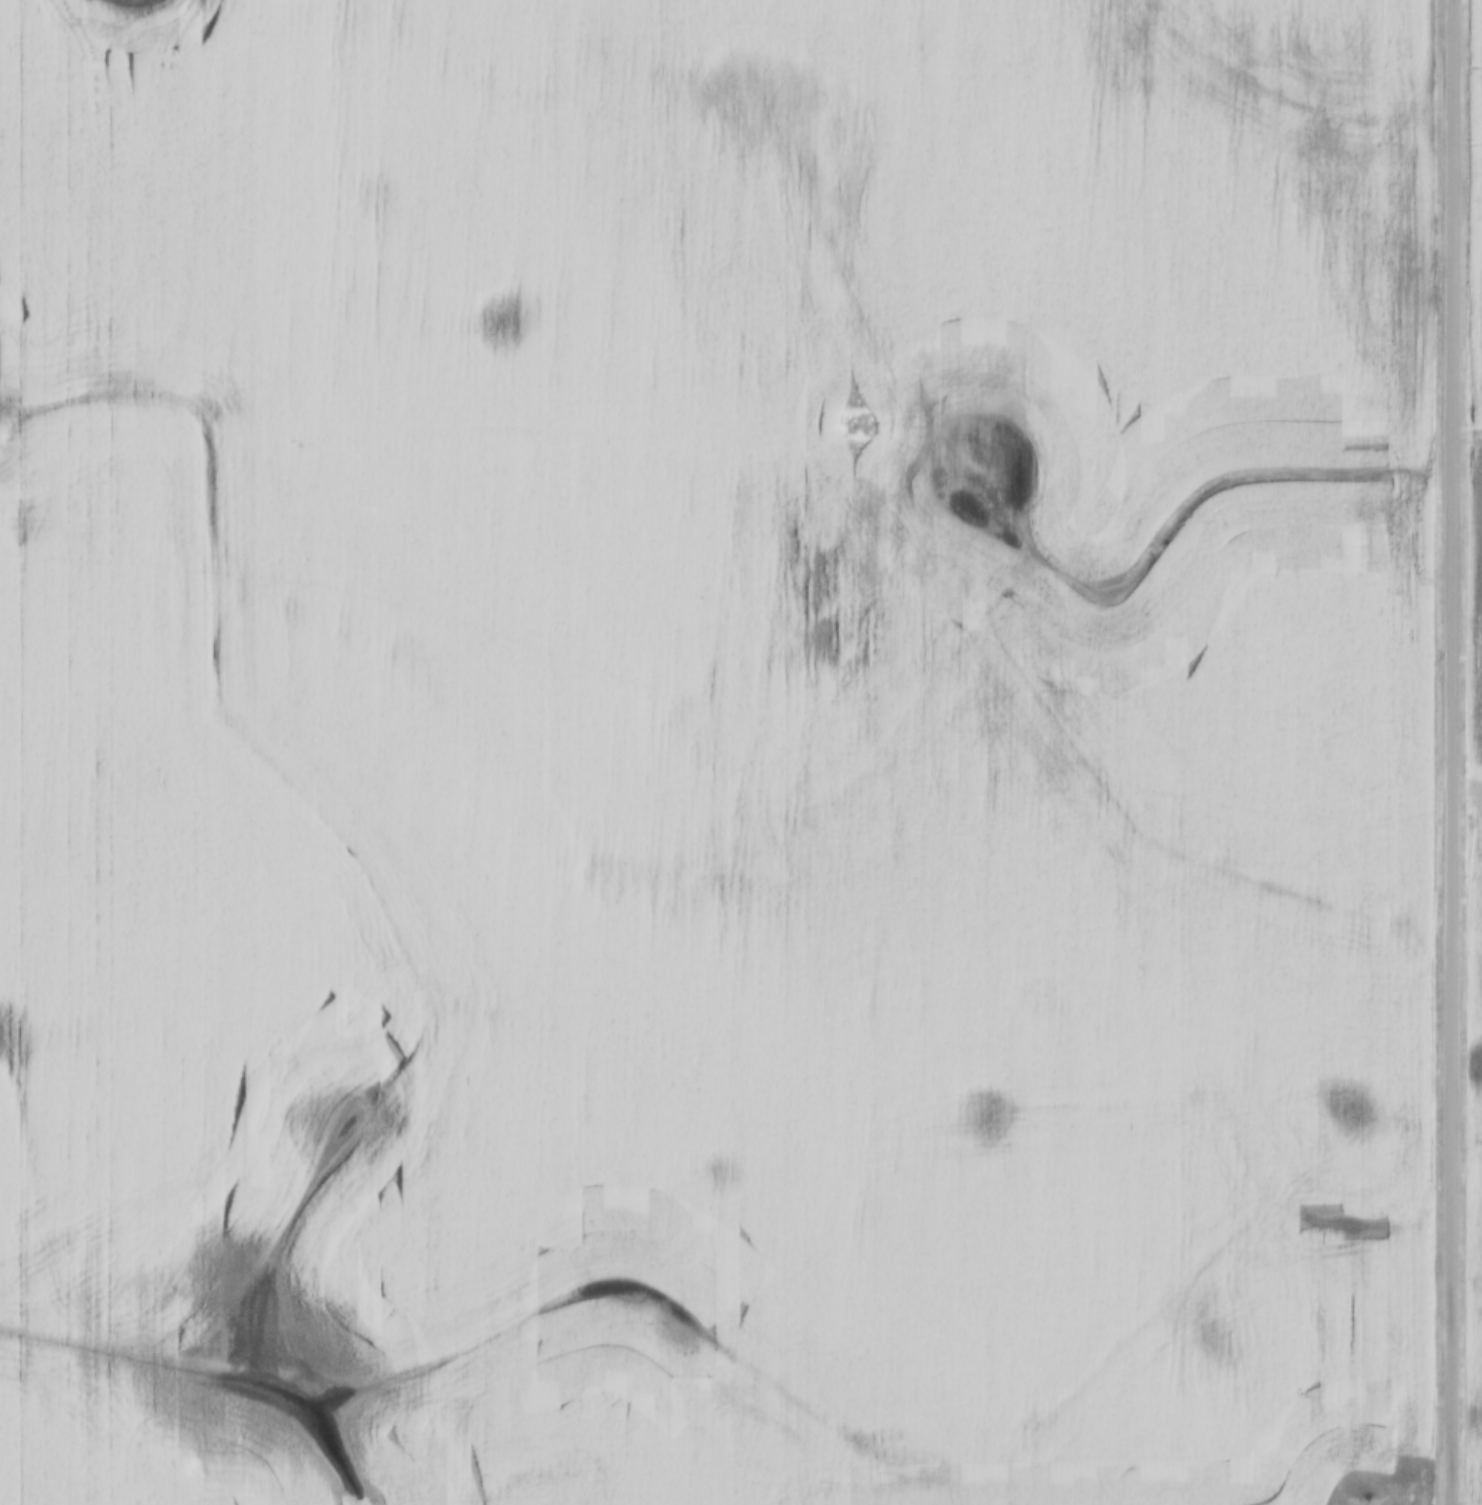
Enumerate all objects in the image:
road: (1452, 752)

